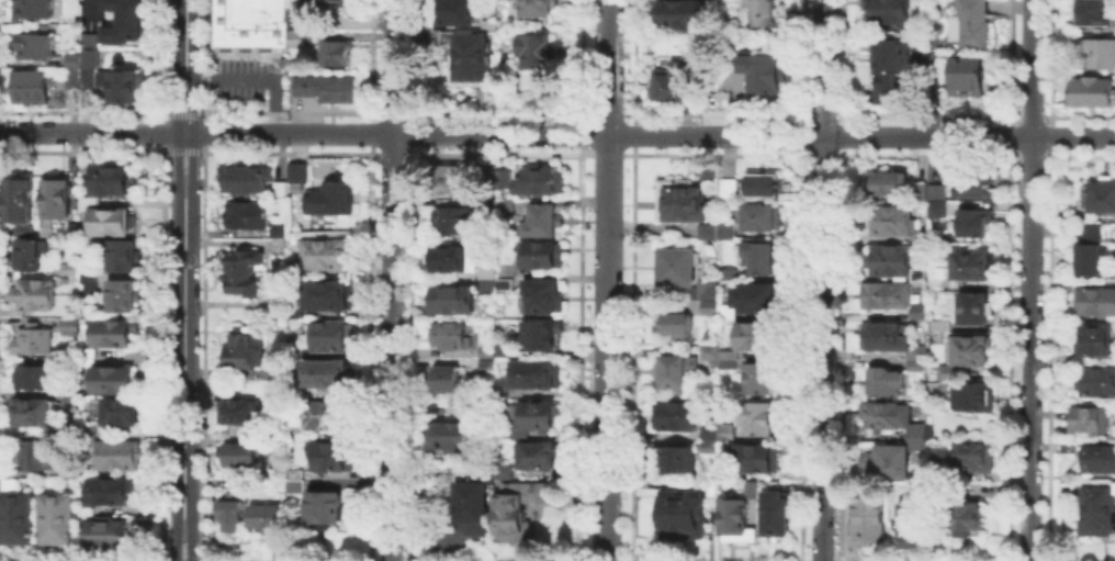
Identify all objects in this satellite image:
building: (312, 1)
building: (342, 1)
road: (90, 5)
building: (538, 7)
building: (32, 8)
building: (886, 10)
building: (459, 12)
building: (764, 12)
building: (1093, 12)
building: (295, 13)
building: (684, 13)
parking lot: (90, 15)
building: (122, 20)
building: (250, 23)
building: (970, 23)
building: (295, 36)
building: (88, 40)
road: (184, 40)
building: (32, 43)
building: (337, 51)
building: (1095, 51)
building: (539, 55)
building: (931, 56)
building: (474, 58)
building: (71, 59)
building: (891, 61)
building: (86, 65)
building: (763, 70)
building: (966, 75)
building: (70, 77)
parking lot: (246, 78)
road: (256, 79)
building: (671, 80)
building: (121, 83)
building: (29, 85)
building: (325, 86)
building: (1089, 90)
building: (710, 101)
traffic signals: (177, 108)
road: (185, 114)
road: (178, 131)
road: (194, 132)
road: (557, 134)
road: (185, 149)
traffic signals: (194, 154)
building: (299, 170)
building: (707, 170)
building: (248, 180)
building: (112, 181)
building: (452, 181)
building: (505, 181)
building: (759, 182)
building: (888, 182)
building: (540, 183)
building: (283, 187)
building: (728, 187)
building: (976, 187)
building: (920, 189)
building: (938, 191)
building: (1099, 194)
building: (680, 199)
building: (59, 201)
building: (335, 201)
building: (21, 202)
building: (506, 207)
building: (941, 207)
building: (759, 214)
building: (249, 217)
building: (887, 217)
building: (111, 221)
building: (543, 222)
building: (454, 223)
building: (978, 225)
building: (725, 226)
building: (79, 229)
building: (707, 229)
building: (919, 232)
building: (30, 251)
building: (1094, 254)
building: (328, 255)
building: (759, 255)
building: (125, 257)
building: (887, 258)
building: (547, 259)
building: (457, 260)
building: (677, 265)
building: (972, 267)
building: (71, 271)
building: (246, 271)
building: (727, 272)
building: (919, 272)
building: (491, 279)
road: (391, 280)
road: (608, 280)
road: (822, 280)
road: (1029, 280)
building: (91, 283)
building: (1060, 283)
building: (505, 285)
building: (707, 288)
building: (689, 290)
building: (885, 293)
building: (35, 295)
building: (756, 295)
building: (333, 296)
building: (126, 298)
building: (1096, 299)
building: (545, 300)
building: (454, 302)
building: (708, 305)
building: (919, 308)
building: (725, 310)
building: (294, 311)
building: (978, 311)
building: (674, 321)
building: (938, 323)
building: (75, 330)
building: (755, 334)
building: (885, 335)
building: (120, 336)
building: (453, 337)
building: (540, 337)
building: (336, 338)
building: (1094, 338)
building: (35, 340)
building: (244, 350)
building: (509, 351)
building: (709, 351)
road: (183, 352)
building: (727, 352)
building: (914, 352)
building: (1066, 355)
building: (487, 356)
building: (971, 357)
building: (90, 359)
building: (727, 362)
building: (914, 363)
building: (488, 368)
building: (675, 369)
building: (333, 375)
building: (759, 375)
building: (537, 377)
building: (883, 379)
building: (34, 380)
building: (116, 381)
building: (450, 381)
building: (1096, 382)
building: (503, 391)
building: (72, 397)
building: (979, 399)
building: (240, 412)
building: (124, 413)
building: (885, 413)
building: (34, 414)
building: (675, 414)
building: (330, 417)
building: (756, 417)
building: (534, 420)
building: (1093, 423)
building: (709, 430)
building: (725, 430)
building: (916, 434)
building: (457, 435)
building: (91, 436)
building: (706, 445)
building: (1066, 445)
building: (35, 452)
building: (120, 457)
building: (244, 457)
building: (676, 457)
building: (755, 457)
building: (1100, 457)
building: (538, 458)
building: (976, 458)
building: (336, 459)
building: (889, 459)
building: (67, 468)
building: (505, 472)
building: (723, 473)
building: (9, 483)
building: (299, 483)
building: (708, 486)
building: (750, 486)
building: (111, 492)
building: (522, 504)
building: (472, 505)
building: (1095, 505)
building: (326, 509)
building: (232, 512)
building: (680, 513)
building: (775, 514)
building: (964, 514)
building: (16, 517)
building: (733, 518)
building: (865, 518)
building: (59, 519)
building: (264, 519)
building: (912, 521)
building: (110, 536)
road: (192, 538)
road: (176, 539)

